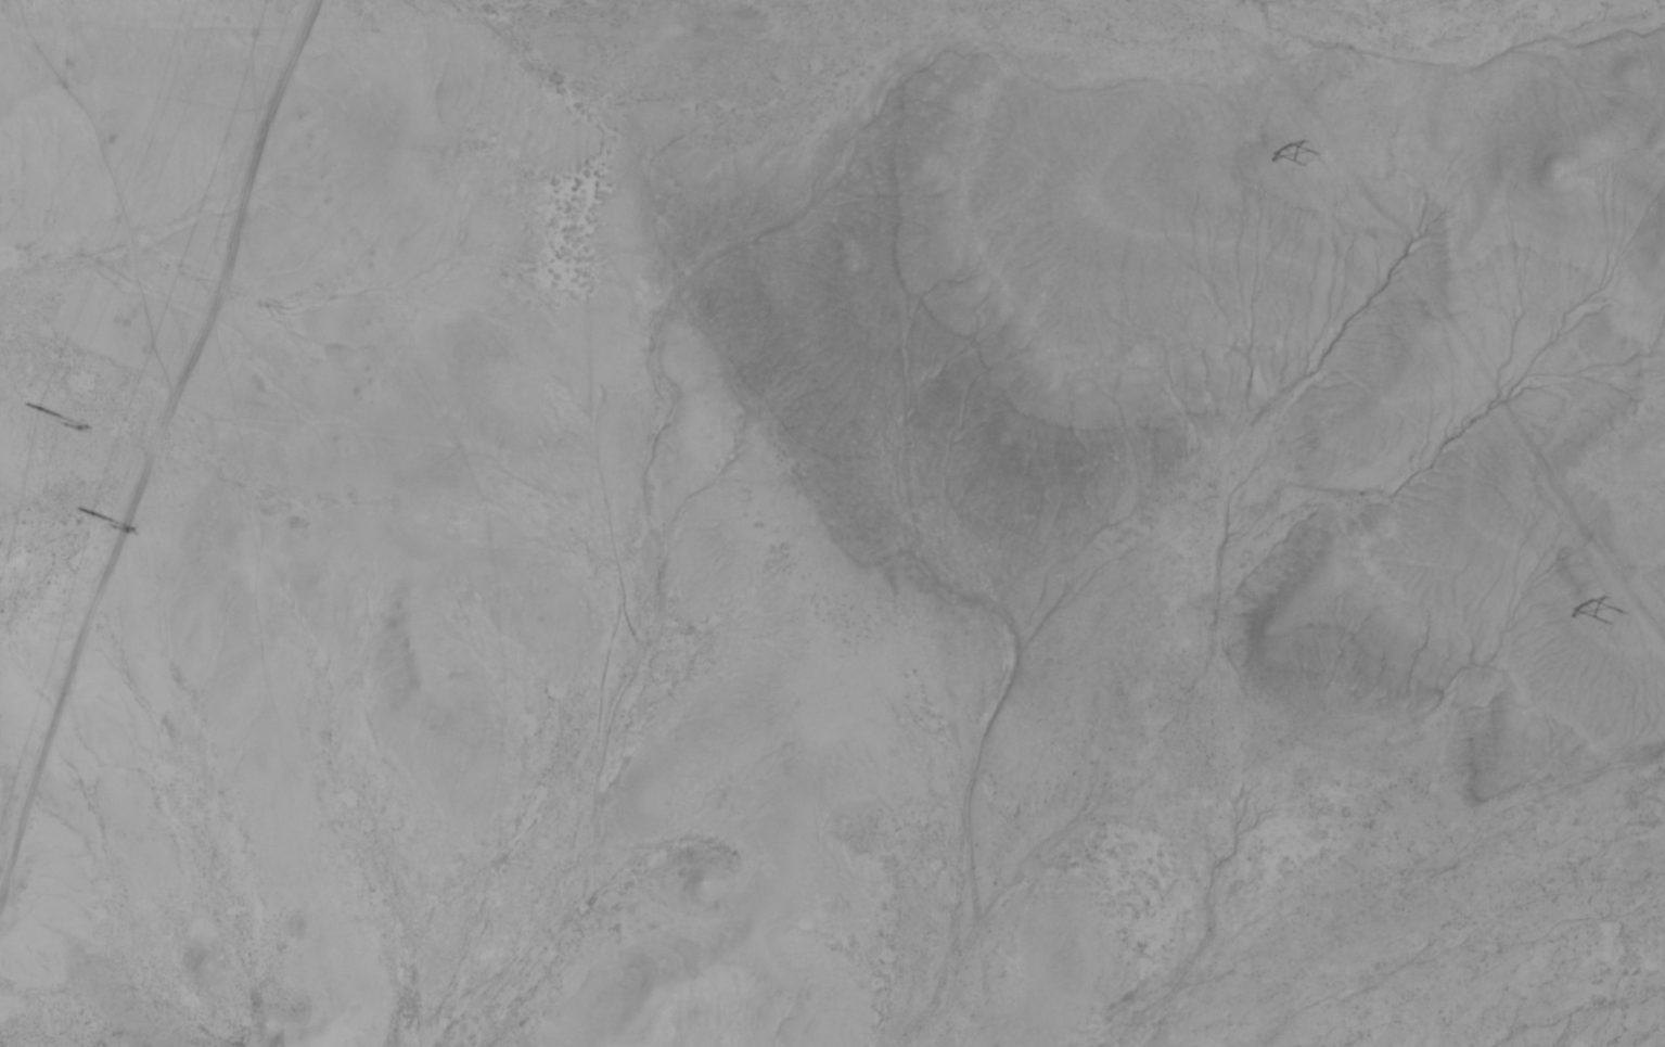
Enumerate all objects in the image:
power tower: (1311, 155)
road: (1448, 323)
power tower: (87, 423)
power tower: (137, 524)
power tower: (1618, 617)

